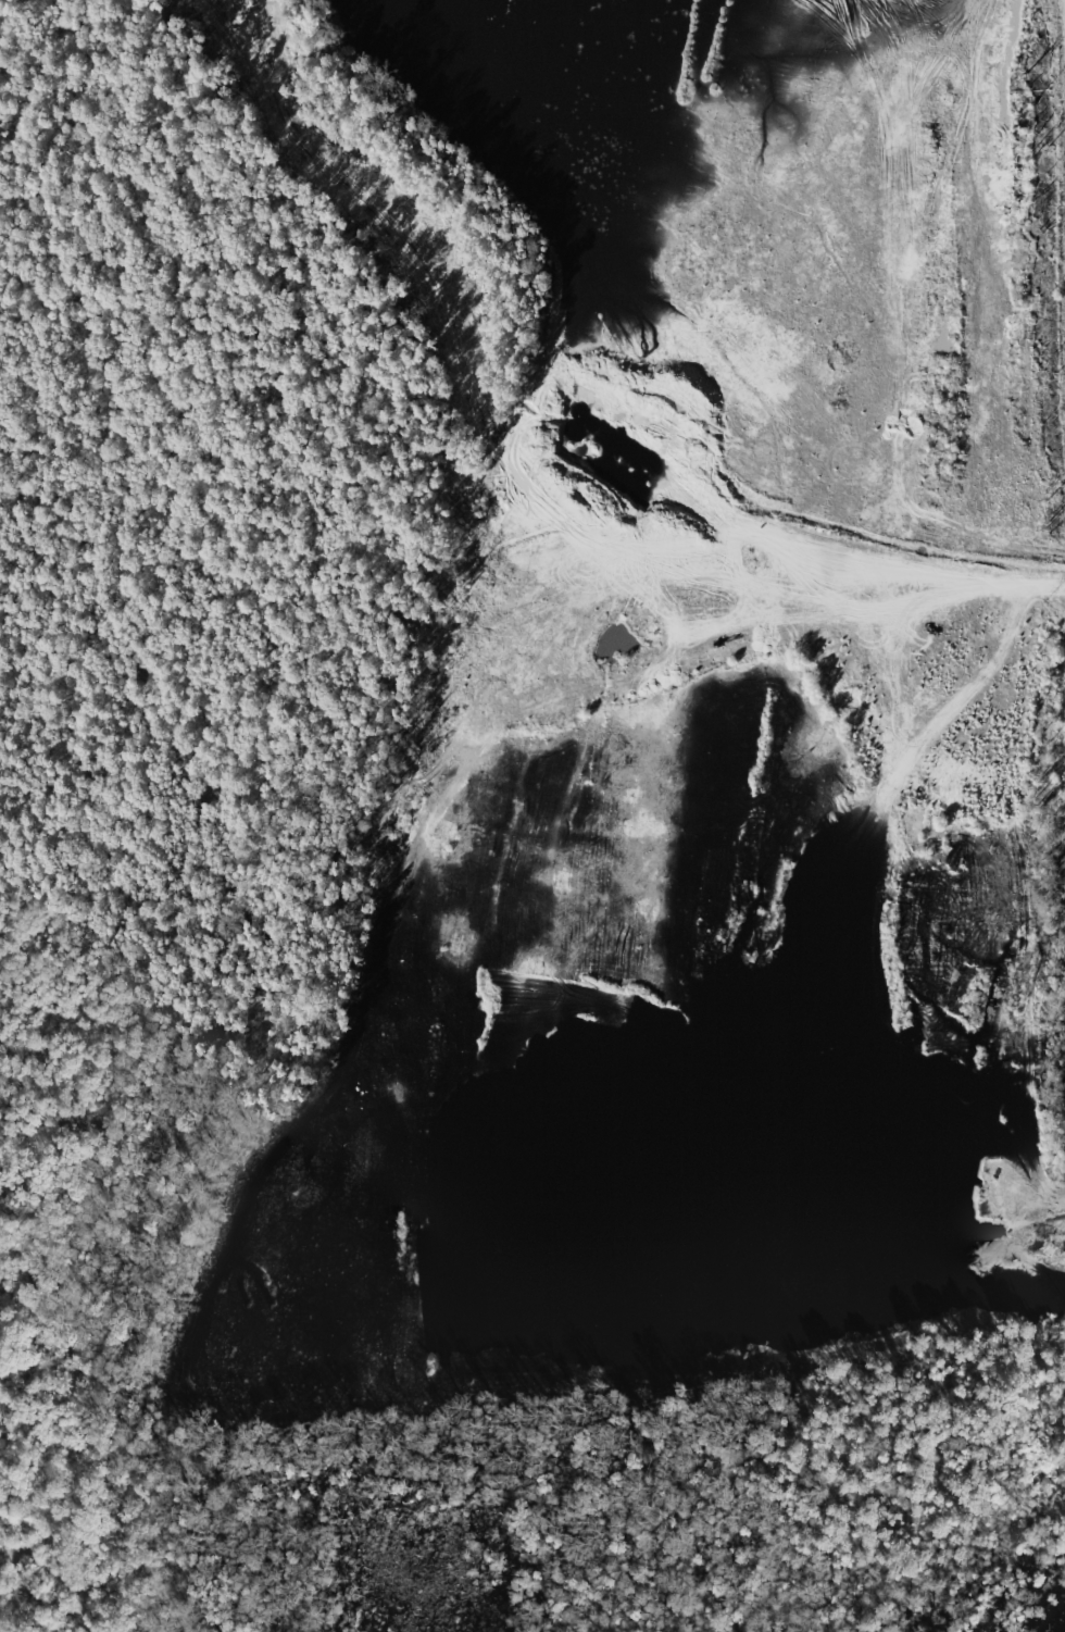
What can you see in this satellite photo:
road: (926, 562)
road: (903, 778)

